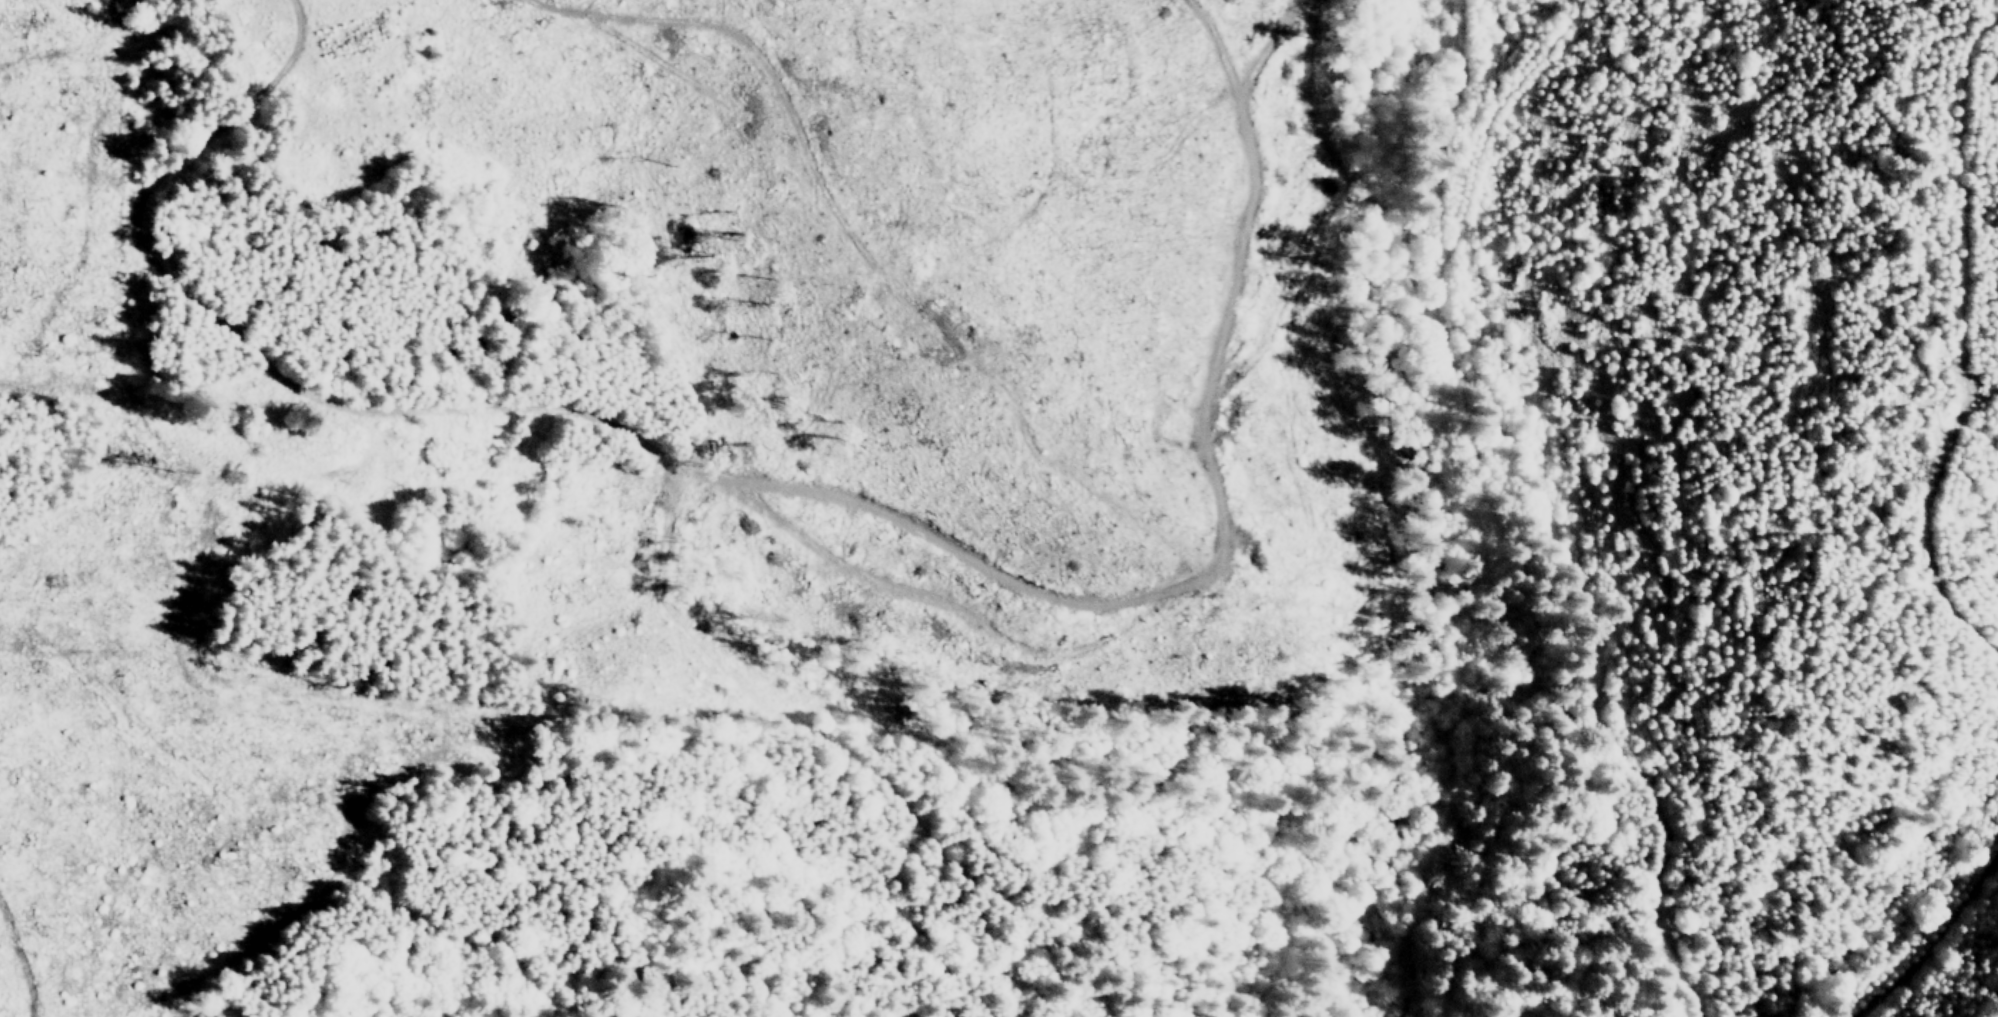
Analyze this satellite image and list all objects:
road: (1442, 141)
road: (1930, 479)
road: (1548, 494)
road: (1937, 949)

